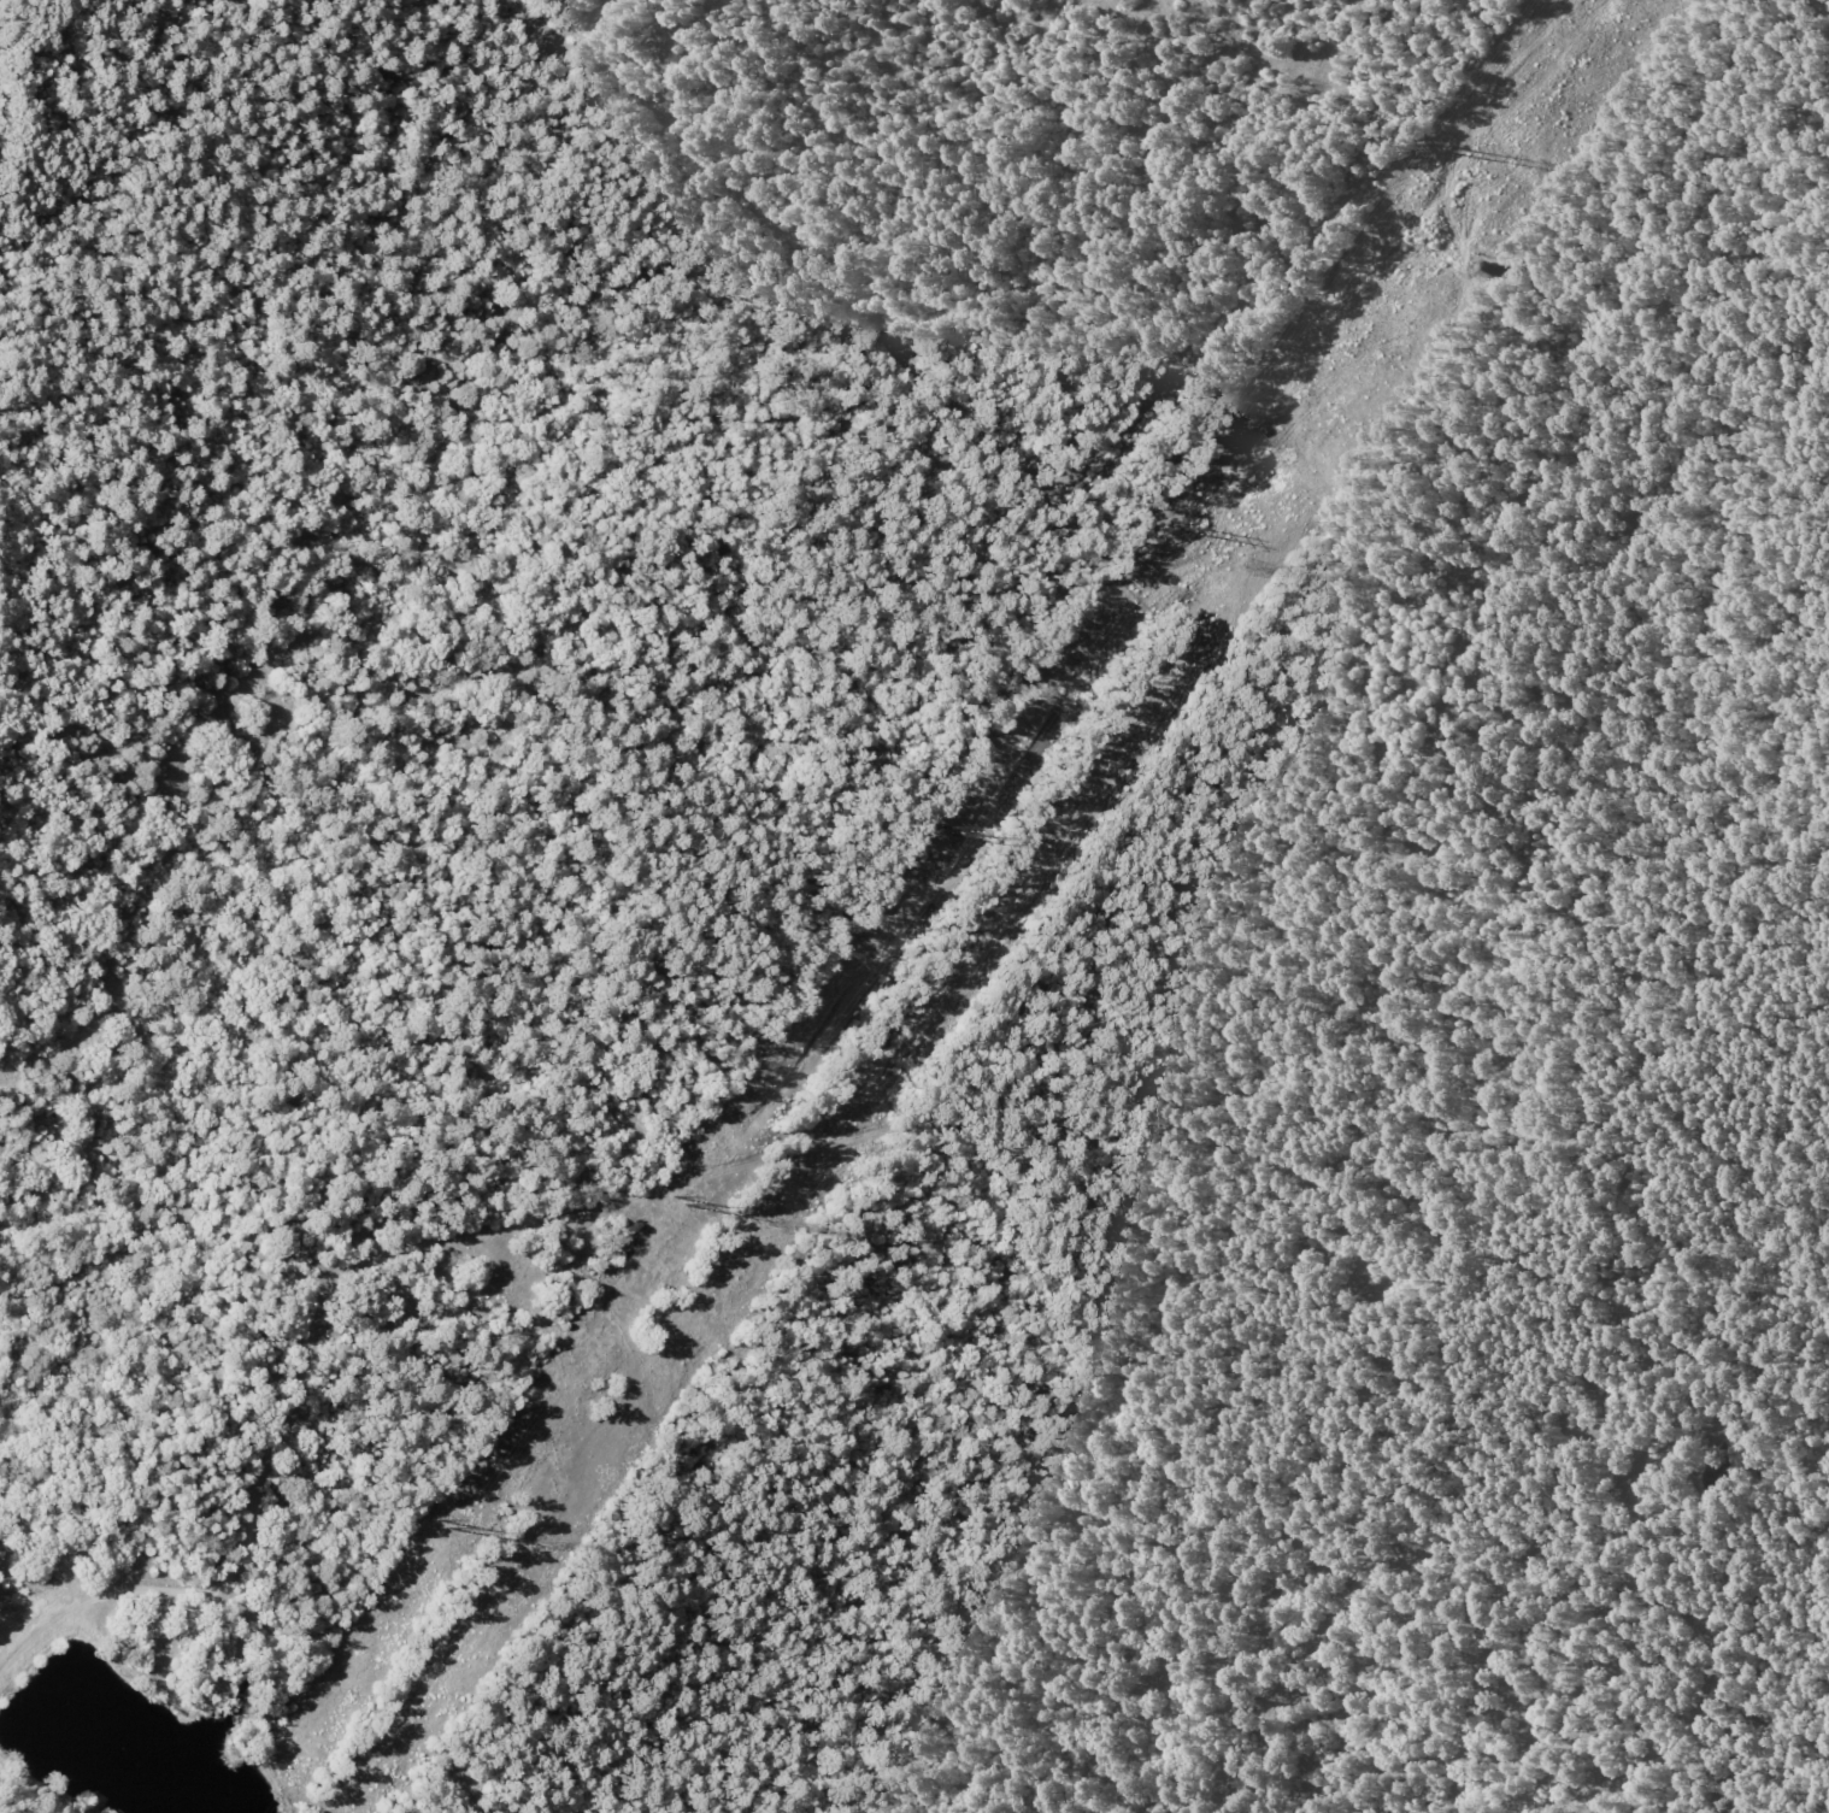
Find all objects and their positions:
power tower: (1439, 152)
power tower: (1168, 528)
power tower: (1247, 567)
power tower: (945, 831)
power tower: (676, 1200)
power tower: (766, 1228)
power tower: (442, 1526)
power tower: (541, 1544)

